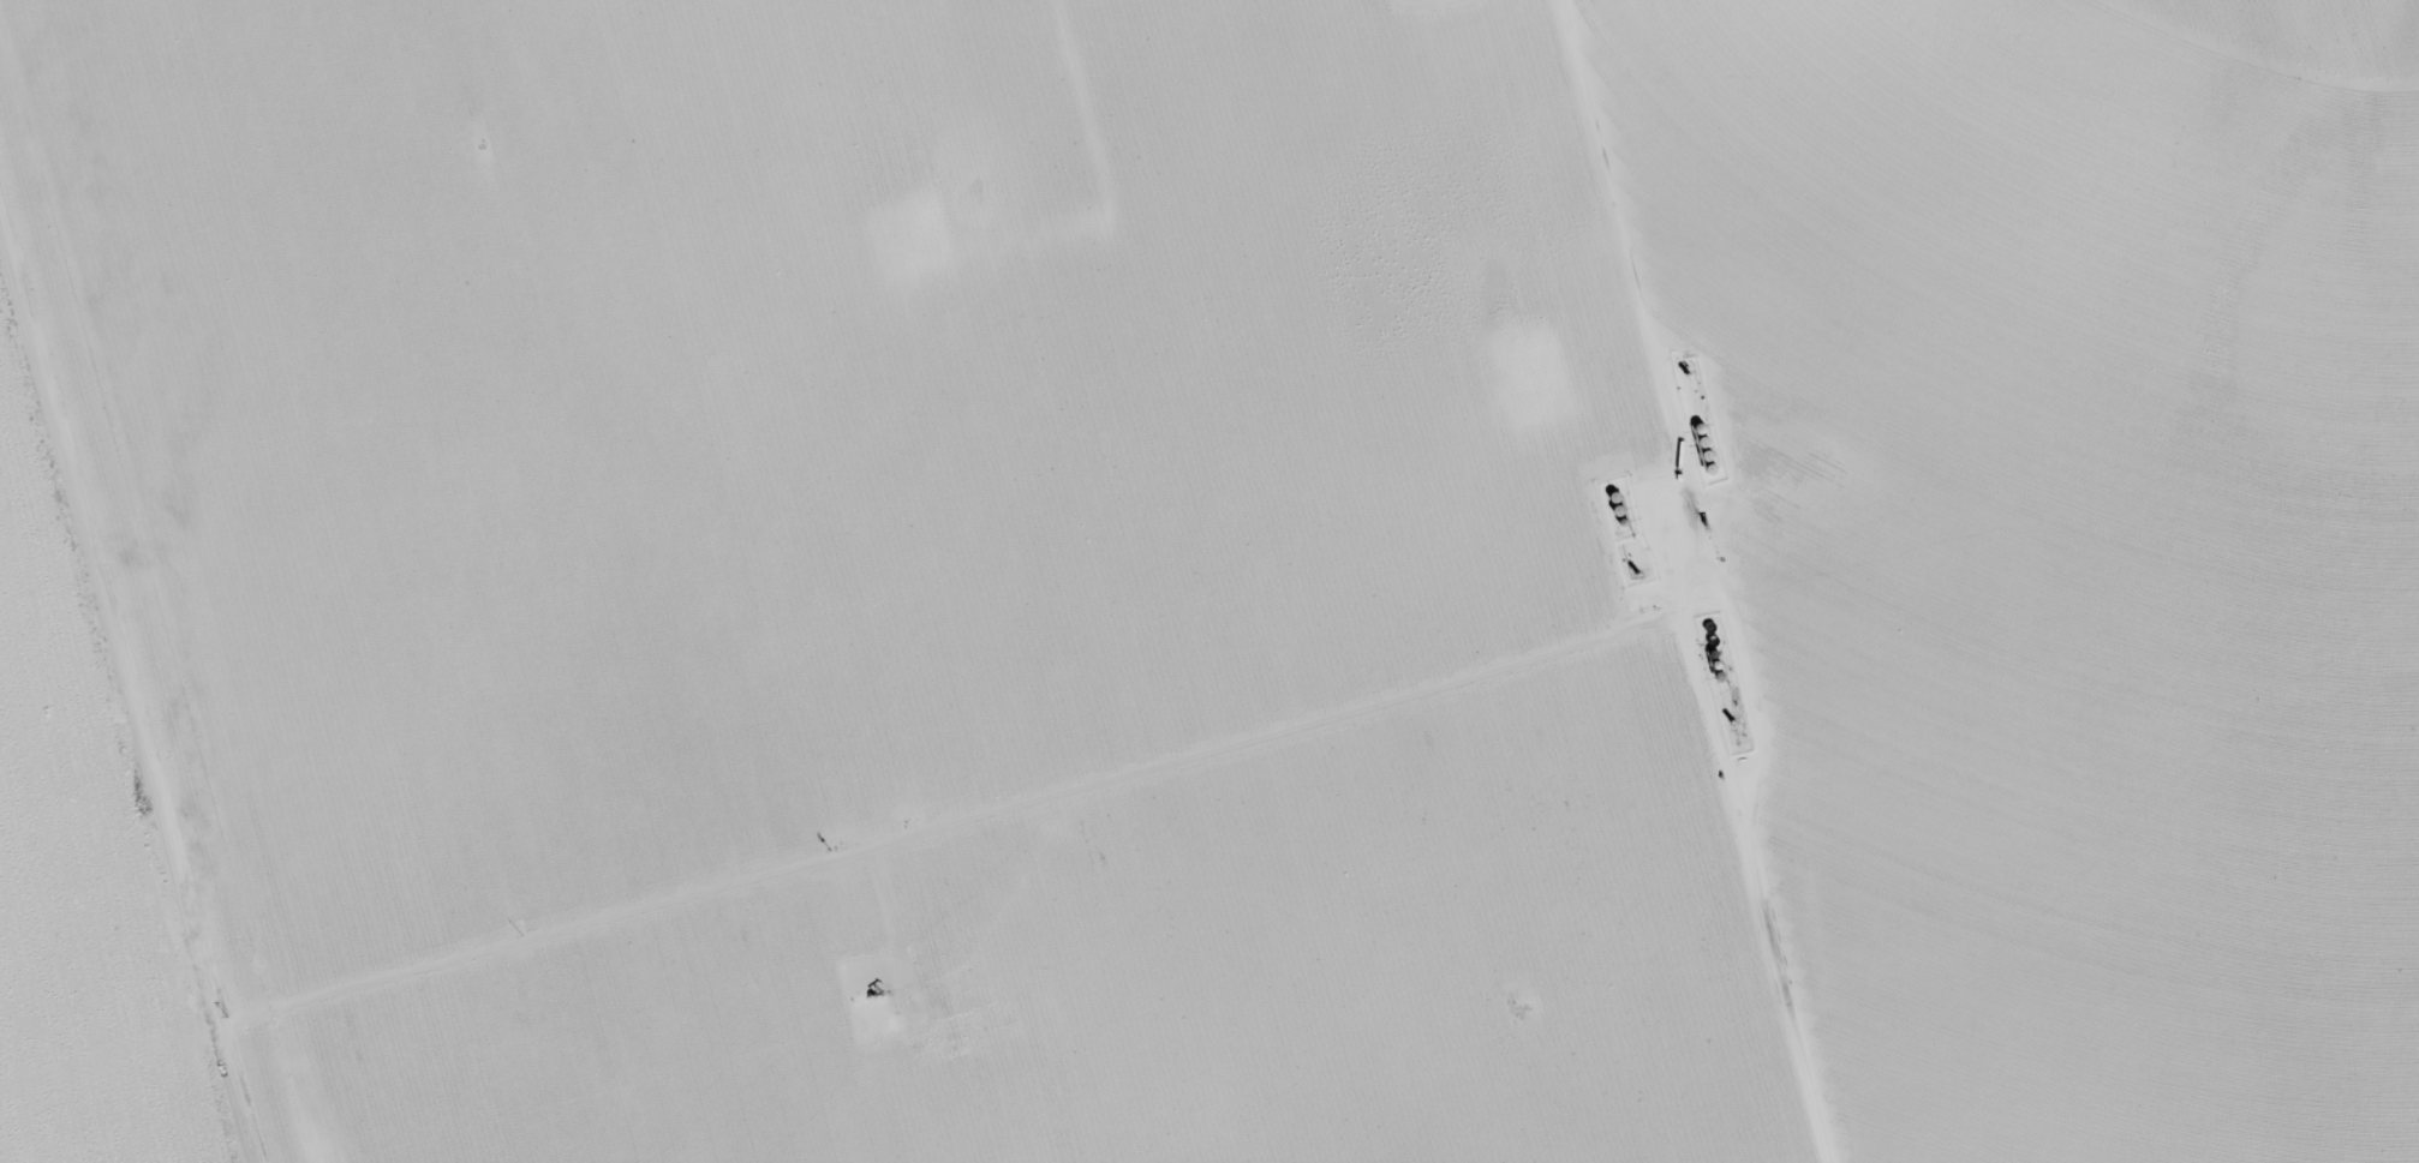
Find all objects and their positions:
road: (1608, 239)
road: (232, 1079)

